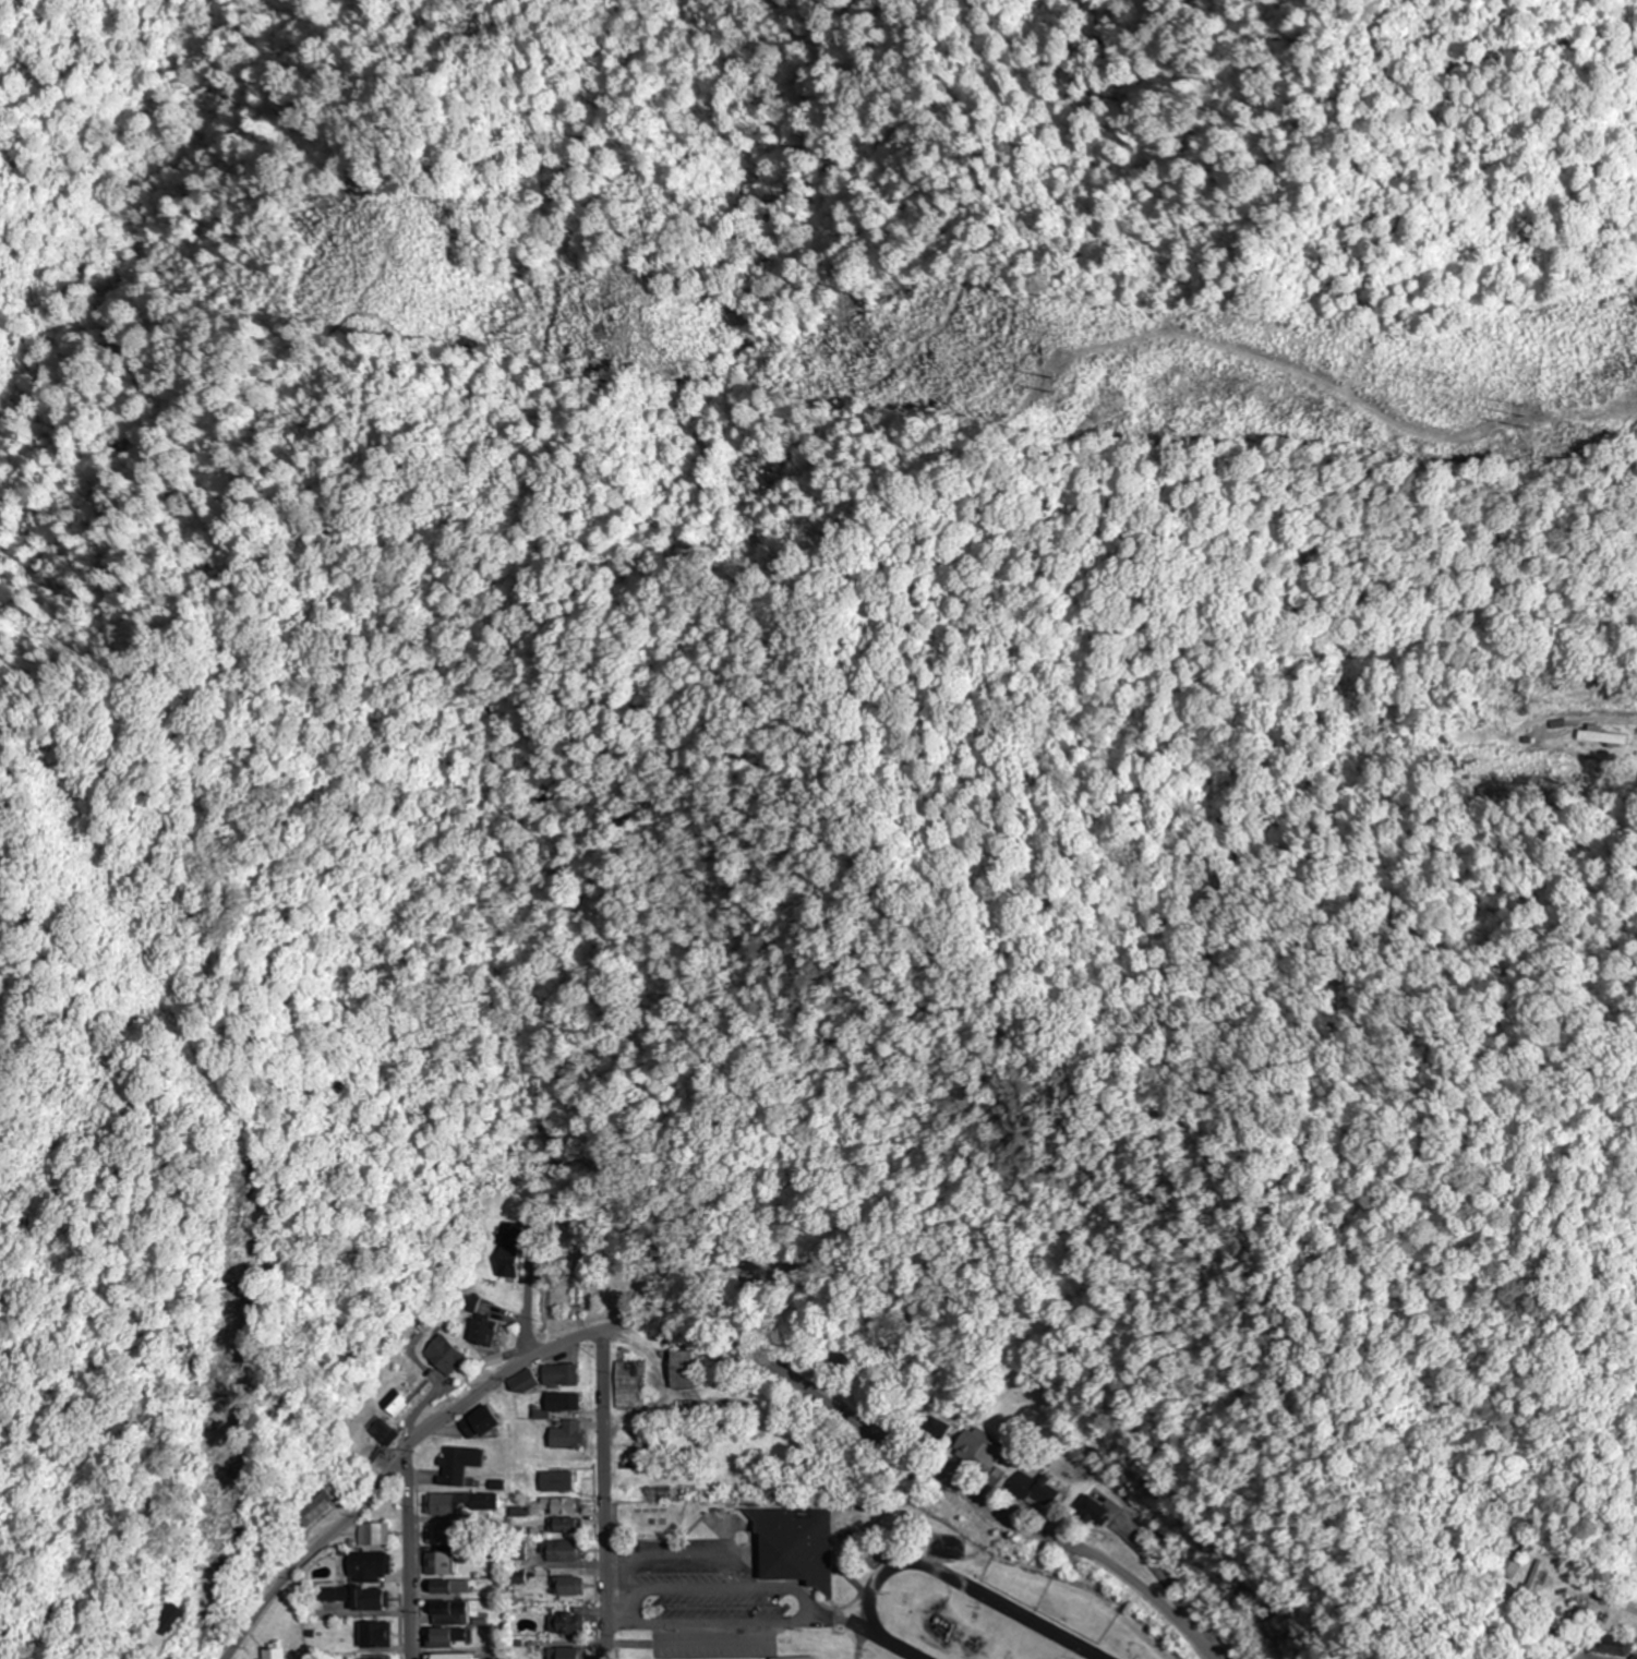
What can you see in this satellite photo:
road: (708, 1311)
building: (488, 1334)
building: (453, 1357)
building: (683, 1370)
building: (564, 1378)
building: (526, 1384)
building: (630, 1386)
building: (565, 1404)
building: (483, 1426)
building: (569, 1438)
building: (980, 1451)
building: (460, 1467)
road: (606, 1484)
building: (1040, 1492)
building: (458, 1505)
building: (564, 1508)
building: (325, 1512)
building: (569, 1528)
building: (374, 1536)
building: (441, 1537)
building: (799, 1547)
road: (399, 1549)
building: (565, 1553)
building: (438, 1565)
building: (368, 1567)
building: (566, 1588)
building: (443, 1589)
building: (369, 1600)
track: (1006, 1606)
building: (448, 1614)
building: (567, 1625)
building: (373, 1638)
building: (442, 1639)
road: (1635, 1651)
building: (565, 1654)
building: (455, 1657)

